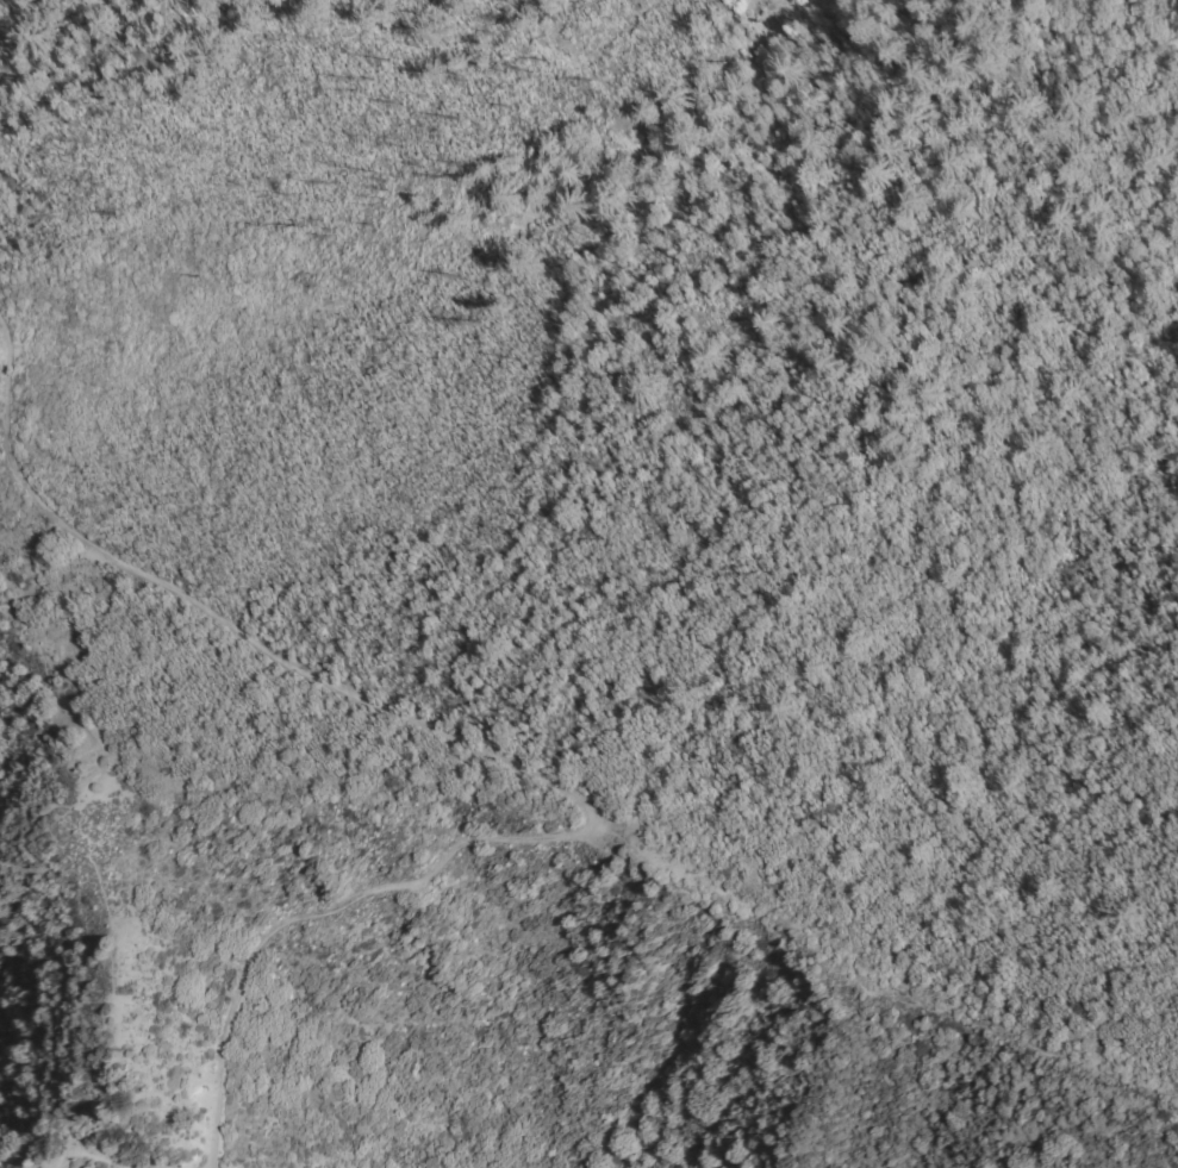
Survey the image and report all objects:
road: (839, 183)
road: (7, 389)
road: (48, 667)
road: (504, 762)
road: (36, 841)
road: (114, 997)

